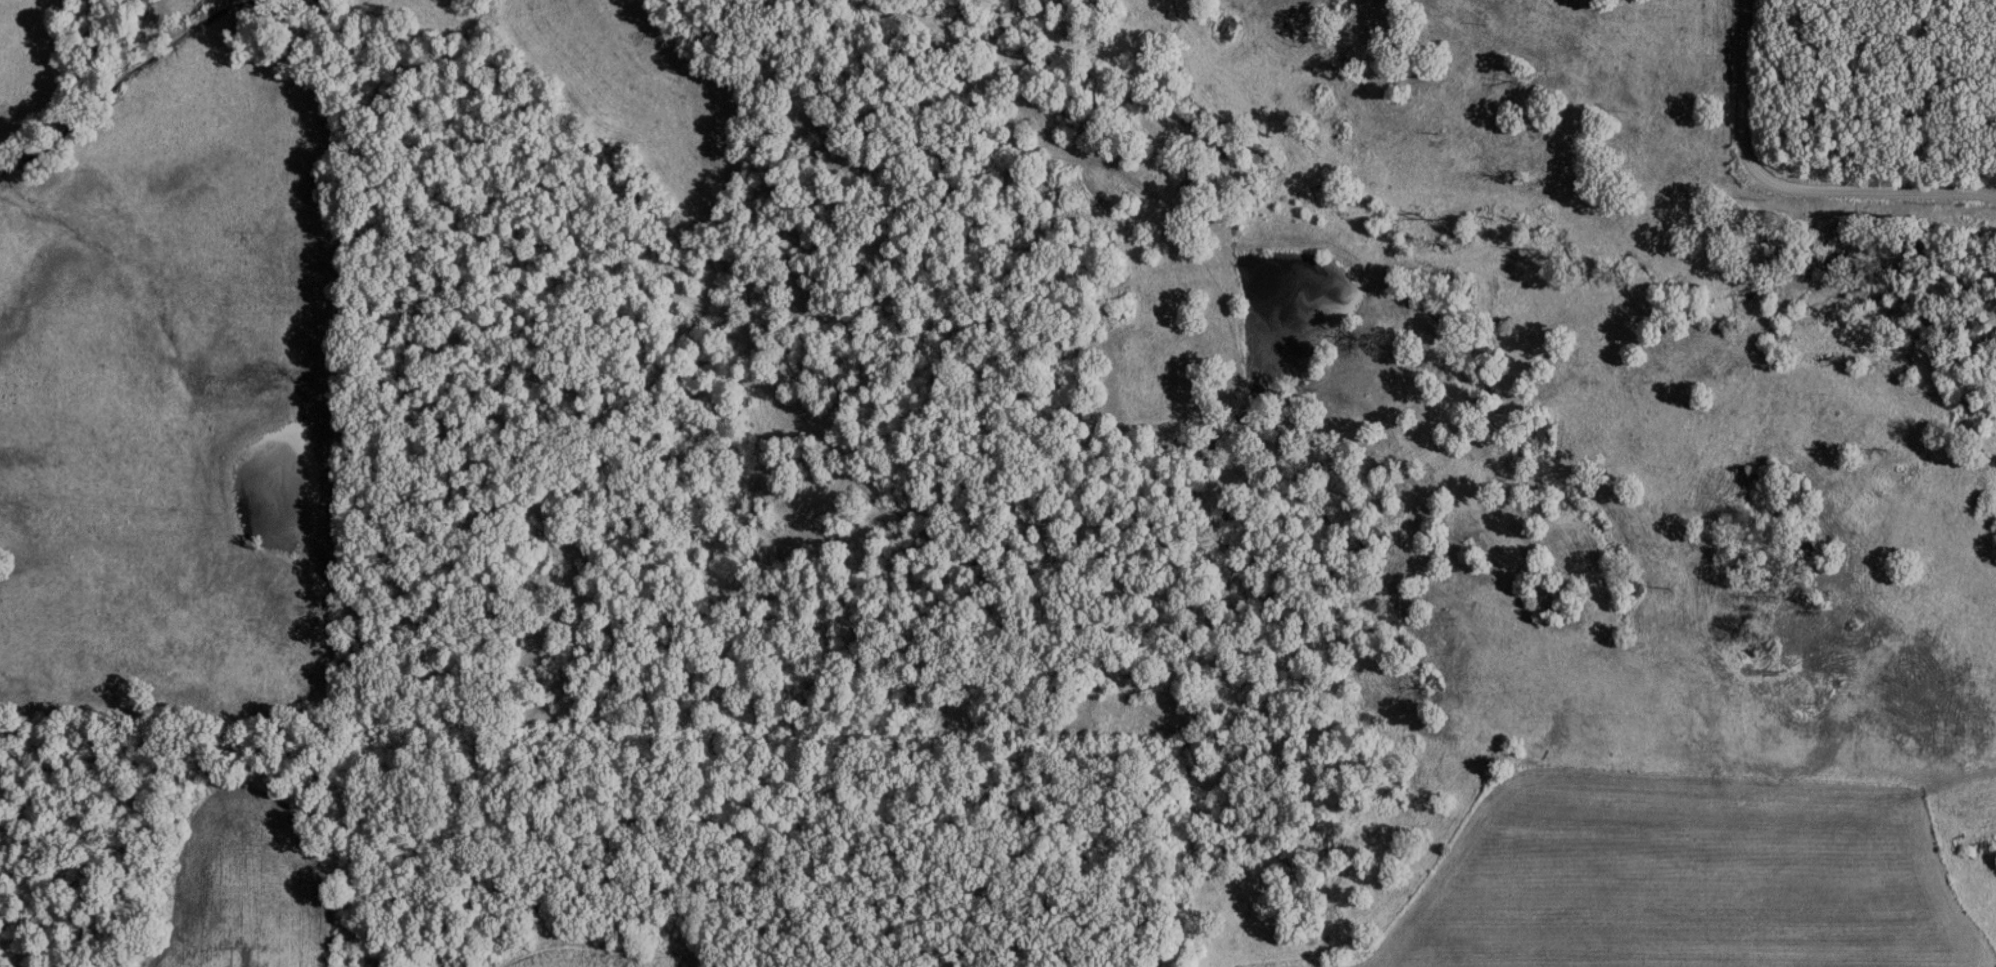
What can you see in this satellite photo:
road: (1786, 183)

